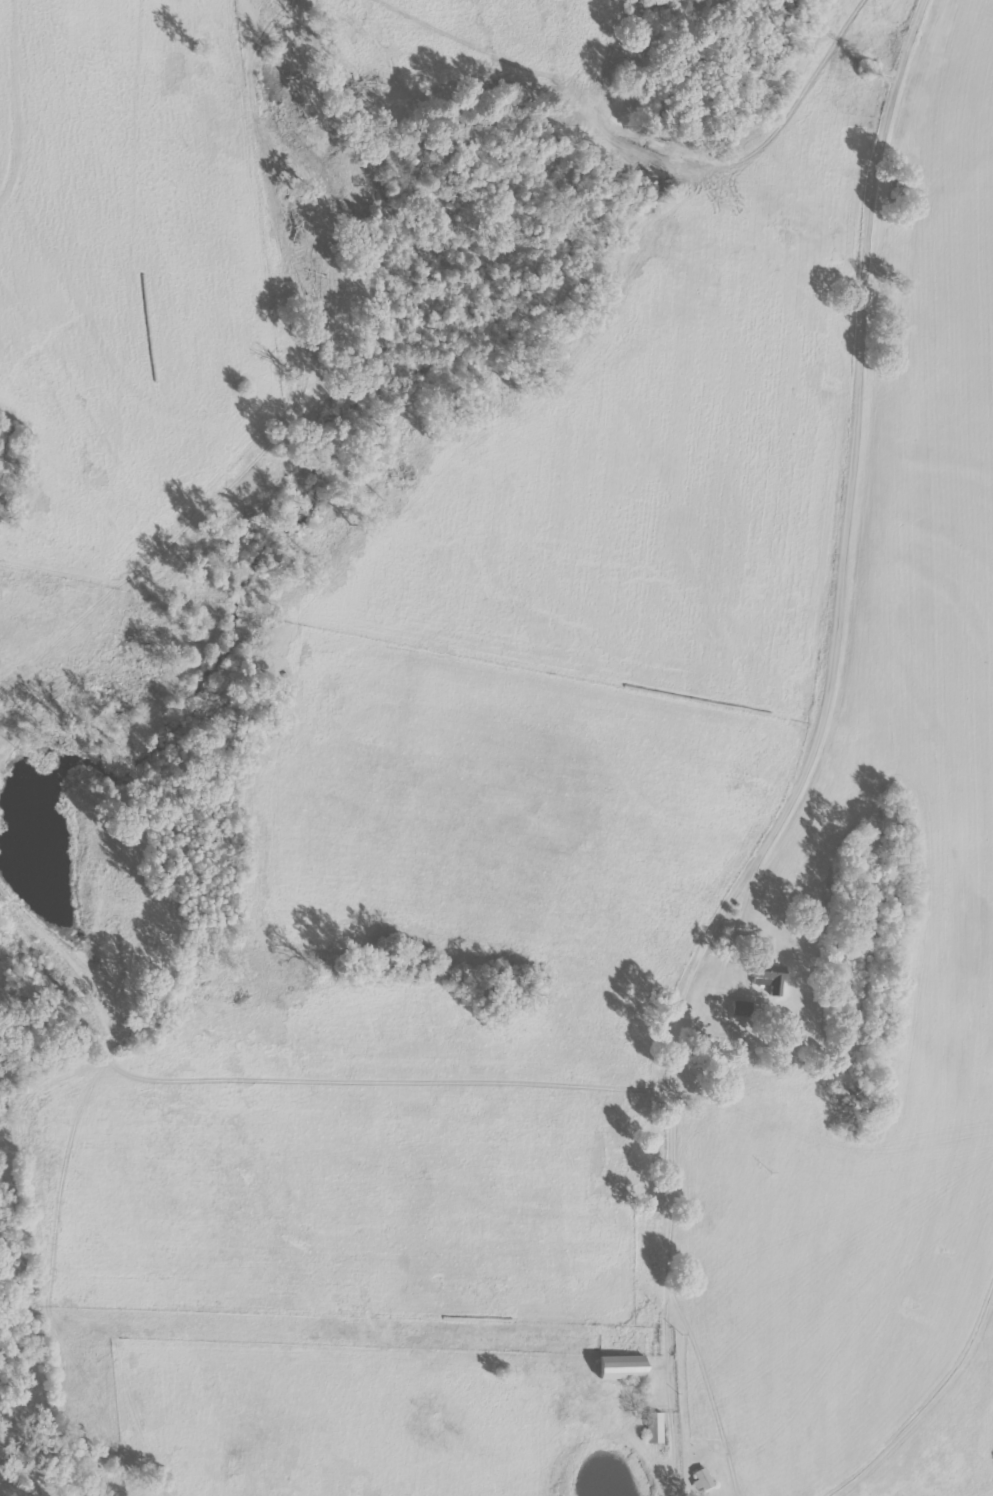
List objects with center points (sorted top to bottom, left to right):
building: (771, 981)
building: (742, 1009)
building: (622, 1366)
building: (655, 1427)
building: (704, 1478)

